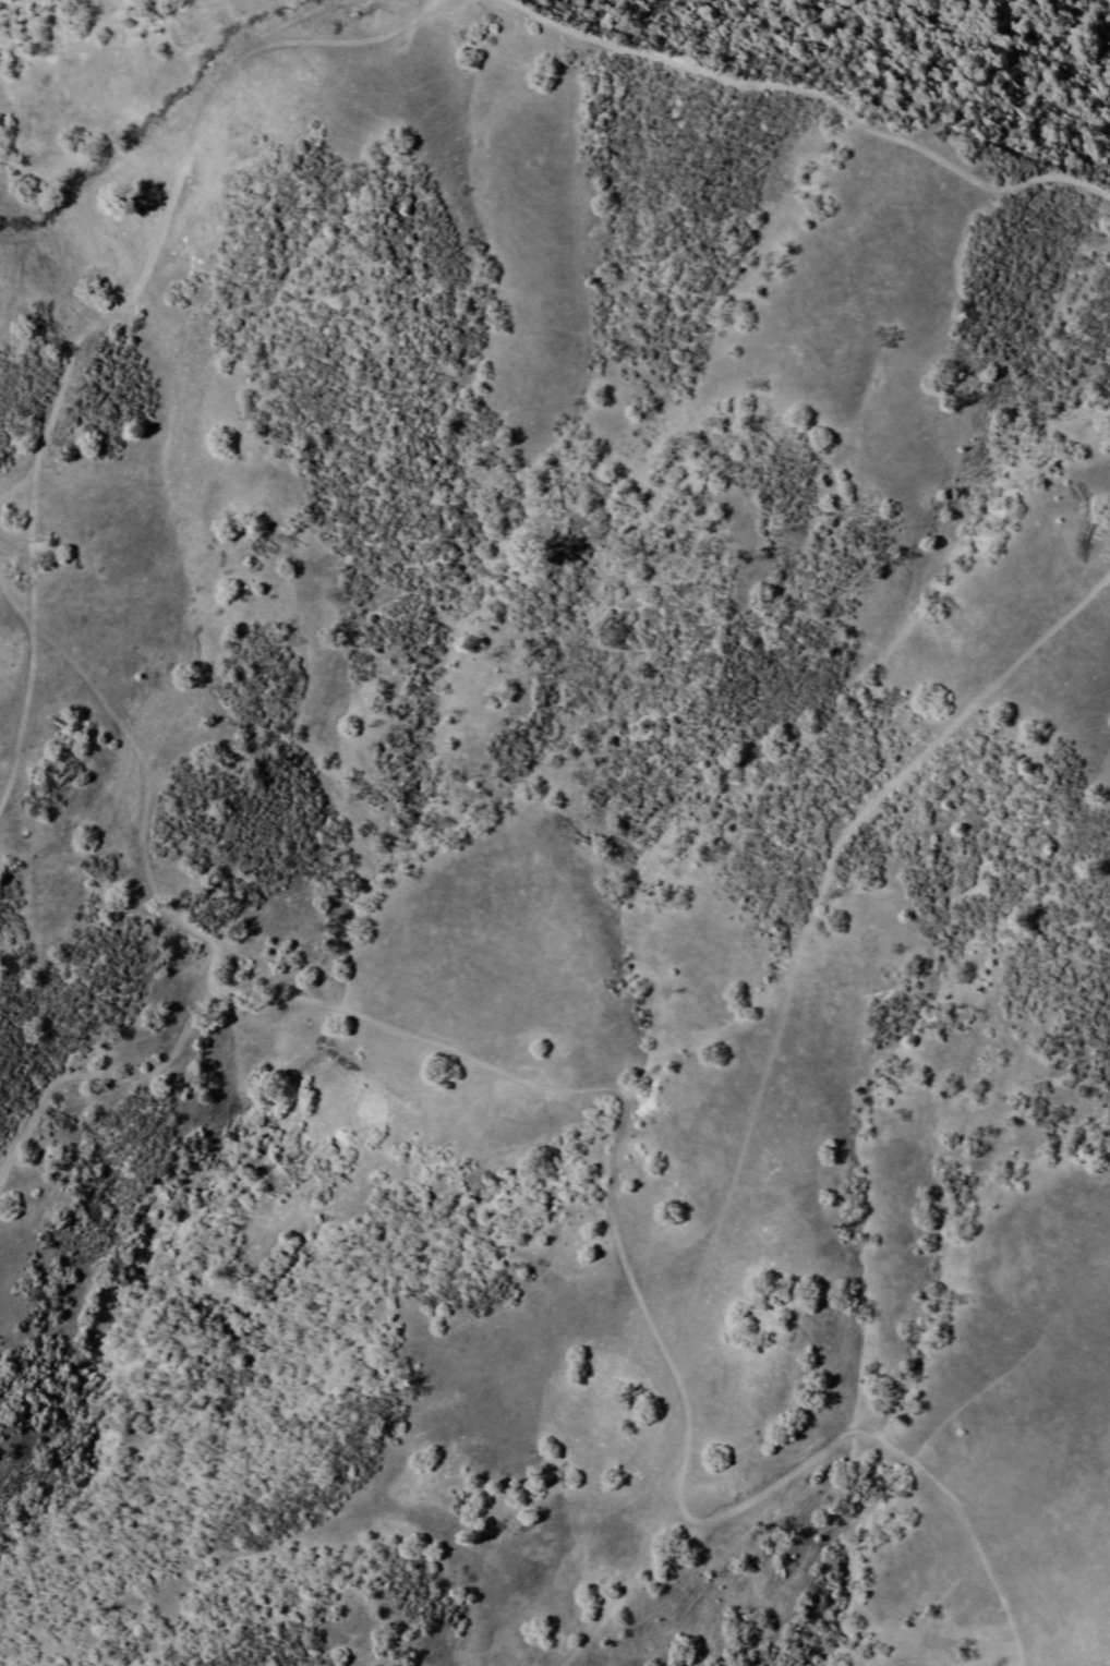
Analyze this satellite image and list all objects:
road: (605, 1208)

